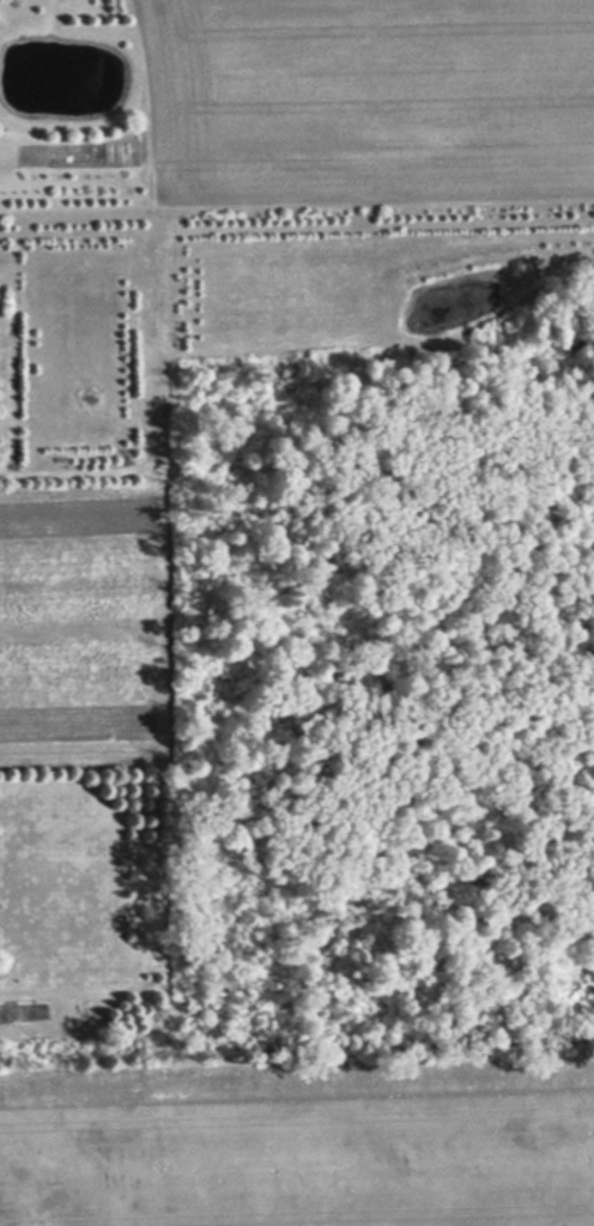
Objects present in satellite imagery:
building: (1, 1)

